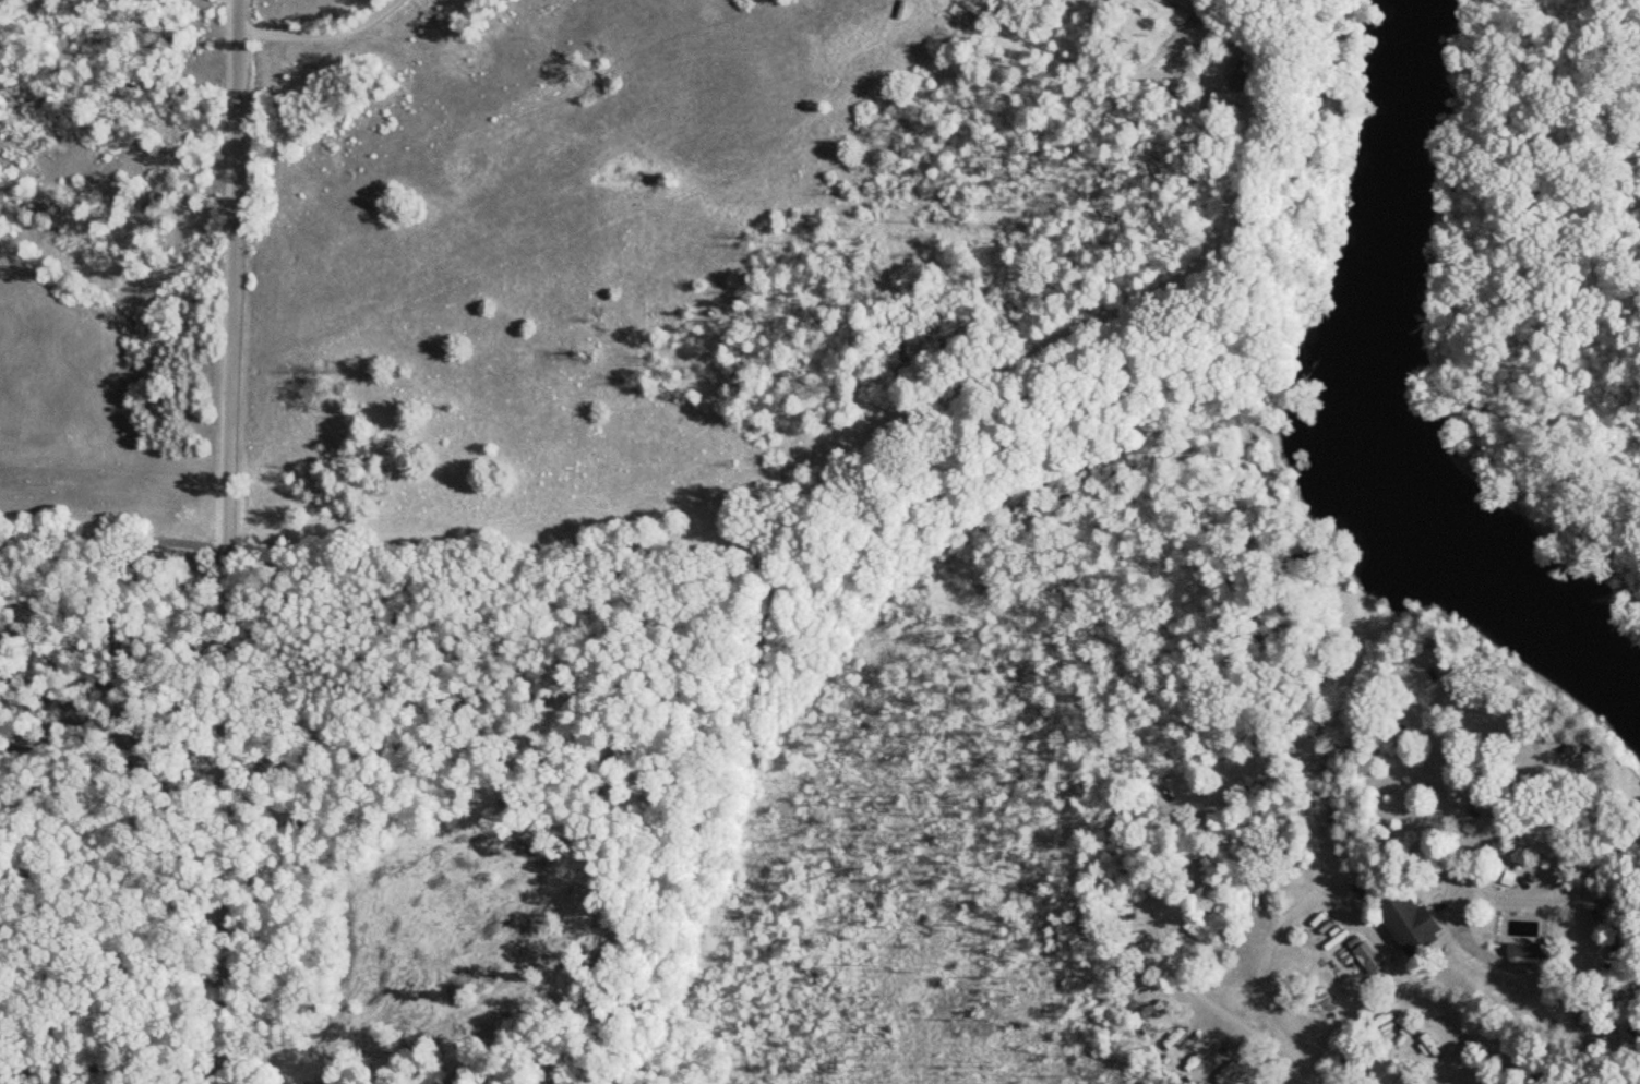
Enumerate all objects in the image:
building: (1181, 3)
road: (307, 23)
road: (1075, 59)
river: (1366, 410)
road: (220, 542)
road: (1607, 855)
road: (1281, 916)
building: (1405, 924)
road: (106, 942)
road: (1480, 947)
building: (1528, 952)
road: (1386, 990)
road: (1609, 1015)
building: (1293, 1024)
road: (106, 1061)

